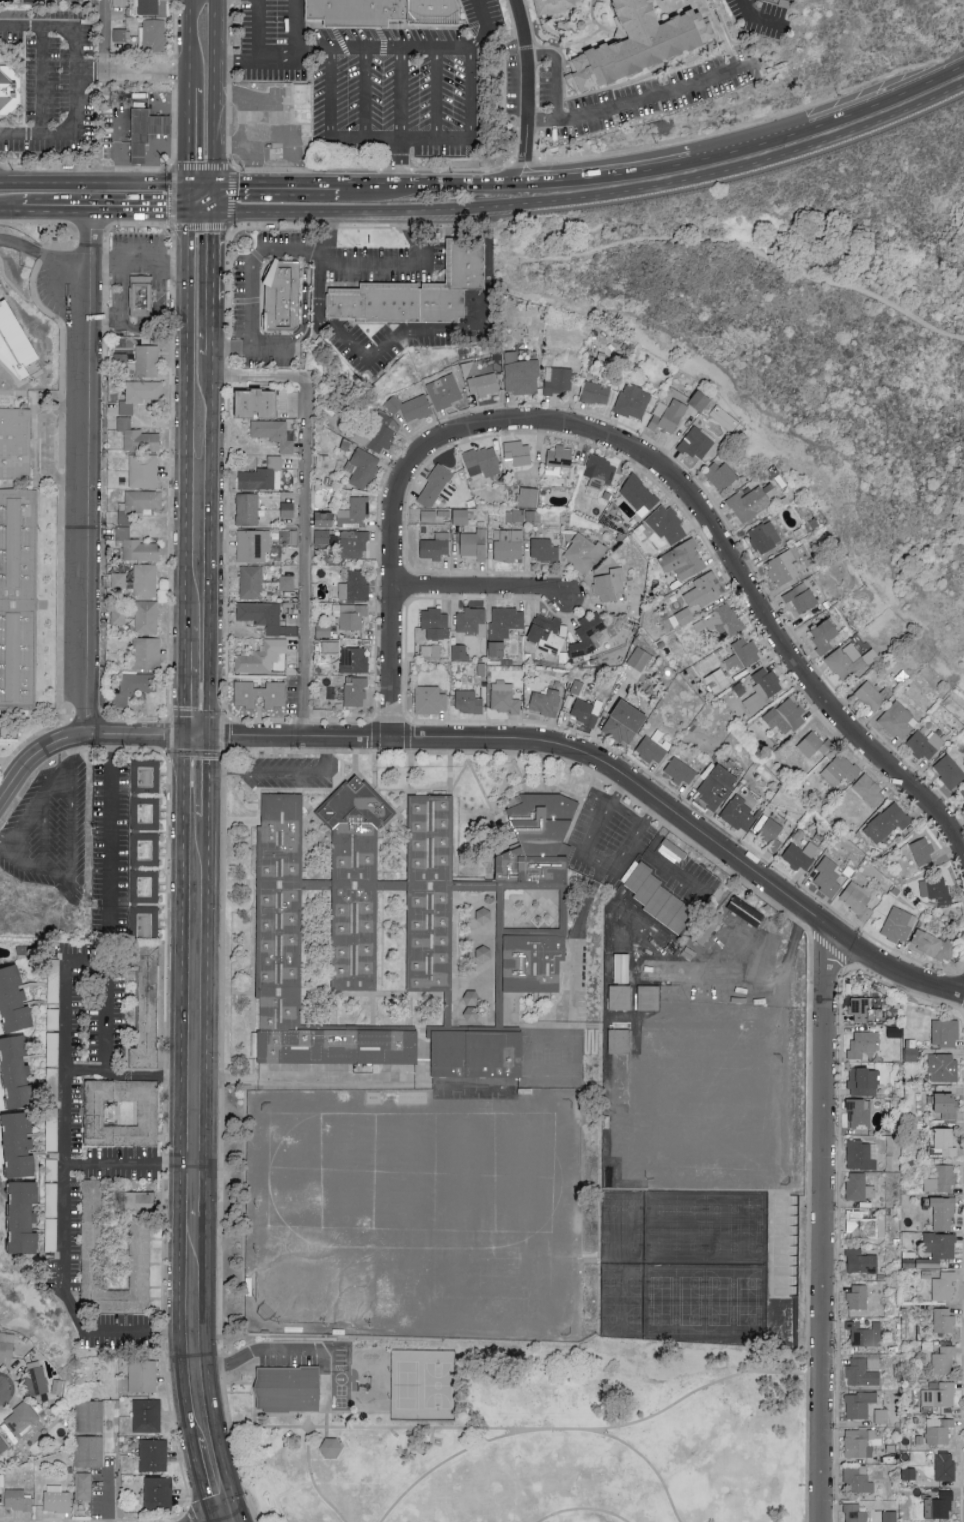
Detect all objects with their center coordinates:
road: (34, 1)
building: (74, 1)
road: (666, 1)
building: (551, 6)
building: (151, 7)
building: (353, 13)
building: (426, 13)
road: (759, 16)
parking lot: (761, 17)
road: (296, 25)
road: (492, 30)
road: (215, 31)
road: (260, 32)
building: (152, 35)
road: (337, 35)
road: (380, 35)
road: (104, 36)
road: (187, 41)
building: (644, 45)
road: (343, 48)
road: (383, 48)
road: (338, 49)
road: (957, 49)
road: (958, 67)
road: (146, 71)
road: (89, 72)
road: (557, 77)
road: (525, 78)
road: (73, 81)
road: (43, 82)
road: (187, 87)
building: (8, 93)
road: (669, 93)
road: (331, 94)
road: (365, 94)
road: (399, 94)
road: (435, 94)
road: (470, 94)
road: (248, 95)
parking lot: (657, 97)
road: (883, 100)
parking lot: (550, 104)
road: (161, 106)
building: (299, 106)
building: (257, 117)
road: (215, 125)
building: (149, 133)
road: (187, 139)
road: (400, 140)
road: (278, 143)
building: (276, 150)
road: (118, 151)
road: (688, 161)
road: (252, 164)
road: (398, 164)
road: (731, 170)
road: (541, 171)
road: (505, 173)
road: (93, 184)
road: (237, 186)
traffic signals: (186, 187)
road: (200, 187)
traffic signals: (214, 187)
road: (316, 187)
road: (467, 187)
road: (187, 199)
road: (213, 199)
road: (10, 207)
road: (104, 209)
traffic signals: (188, 212)
road: (200, 212)
traffic signals: (213, 212)
road: (220, 212)
road: (358, 214)
road: (736, 244)
road: (43, 257)
road: (213, 257)
road: (139, 262)
road: (402, 266)
road: (251, 267)
road: (55, 295)
building: (415, 295)
building: (141, 296)
building: (281, 296)
road: (306, 302)
road: (120, 310)
road: (160, 317)
road: (212, 326)
park: (804, 330)
road: (413, 335)
building: (14, 344)
road: (270, 344)
road: (212, 354)
building: (121, 359)
building: (147, 361)
building: (521, 375)
building: (560, 382)
building: (484, 385)
building: (445, 392)
building: (597, 393)
building: (141, 395)
building: (701, 401)
building: (633, 402)
building: (261, 404)
building: (411, 408)
building: (668, 416)
road: (186, 419)
building: (275, 433)
building: (384, 435)
building: (139, 437)
building: (696, 443)
building: (16, 444)
road: (44, 445)
building: (518, 453)
building: (559, 460)
building: (482, 462)
building: (363, 468)
building: (144, 471)
building: (600, 472)
road: (86, 473)
building: (721, 475)
building: (263, 476)
building: (639, 495)
building: (529, 497)
building: (143, 501)
building: (751, 503)
building: (248, 510)
building: (288, 510)
building: (355, 513)
road: (304, 514)
building: (433, 515)
building: (514, 516)
building: (461, 517)
building: (324, 520)
building: (667, 525)
building: (765, 537)
building: (353, 544)
building: (474, 544)
building: (509, 545)
road: (209, 546)
building: (253, 546)
building: (436, 547)
building: (544, 550)
building: (584, 553)
building: (685, 560)
road: (735, 568)
building: (783, 569)
building: (287, 580)
building: (144, 582)
building: (251, 582)
road: (392, 584)
building: (610, 585)
building: (354, 586)
road: (478, 589)
building: (705, 590)
building: (801, 598)
building: (20, 603)
building: (262, 615)
building: (350, 616)
building: (684, 616)
building: (145, 619)
building: (506, 621)
building: (724, 621)
building: (471, 622)
building: (436, 624)
building: (548, 633)
building: (588, 635)
building: (826, 636)
building: (498, 650)
building: (460, 652)
building: (747, 652)
building: (145, 654)
building: (262, 657)
building: (640, 659)
building: (354, 660)
building: (732, 661)
road: (184, 681)
building: (717, 681)
building: (135, 687)
building: (763, 689)
building: (357, 693)
building: (261, 695)
building: (873, 696)
building: (504, 698)
building: (431, 701)
building: (469, 702)
building: (546, 702)
building: (586, 711)
building: (632, 716)
building: (786, 717)
building: (898, 721)
traffic signals: (184, 735)
traffic signals: (208, 737)
building: (814, 745)
building: (926, 745)
road: (563, 746)
building: (654, 748)
building: (0, 749)
road: (37, 761)
road: (70, 766)
building: (840, 770)
road: (286, 771)
building: (949, 771)
building: (681, 772)
parking lot: (292, 773)
road: (207, 777)
building: (147, 780)
building: (717, 787)
building: (869, 791)
road: (31, 814)
building: (148, 817)
road: (629, 817)
building: (752, 821)
building: (888, 822)
parking lot: (49, 831)
road: (43, 832)
road: (112, 832)
road: (5, 842)
building: (532, 842)
parking lot: (607, 842)
parking lot: (109, 851)
building: (922, 851)
building: (147, 853)
building: (801, 855)
road: (68, 859)
road: (593, 862)
road: (669, 872)
building: (828, 876)
parking lot: (693, 884)
building: (936, 889)
building: (147, 890)
building: (857, 898)
building: (656, 900)
building: (434, 901)
building: (360, 906)
building: (758, 924)
building: (899, 924)
building: (147, 926)
building: (935, 945)
road: (87, 960)
building: (772, 963)
building: (534, 965)
building: (308, 970)
building: (730, 978)
building: (626, 990)
road: (206, 992)
building: (650, 997)
building: (17, 999)
building: (860, 1009)
building: (662, 1025)
building: (946, 1033)
building: (864, 1044)
building: (482, 1059)
building: (943, 1067)
building: (19, 1071)
building: (625, 1072)
road: (314, 1080)
building: (864, 1081)
road: (182, 1088)
building: (949, 1106)
building: (122, 1112)
building: (860, 1113)
building: (948, 1141)
building: (21, 1144)
building: (863, 1155)
road: (134, 1166)
building: (942, 1179)
building: (859, 1187)
road: (206, 1192)
road: (64, 1193)
building: (944, 1214)
building: (93, 1215)
building: (27, 1217)
road: (828, 1226)
building: (864, 1226)
building: (938, 1248)
building: (139, 1250)
building: (862, 1262)
building: (944, 1286)
building: (858, 1297)
building: (944, 1321)
building: (864, 1334)
building: (7, 1347)
road: (286, 1358)
building: (944, 1360)
road: (207, 1370)
building: (861, 1373)
building: (142, 1377)
building: (37, 1381)
park: (407, 1387)
park: (439, 1387)
building: (286, 1389)
building: (940, 1395)
building: (859, 1404)
building: (89, 1416)
building: (881, 1416)
building: (146, 1417)
building: (23, 1420)
park: (519, 1430)
building: (938, 1430)
road: (526, 1431)
building: (858, 1444)
building: (3, 1445)
building: (88, 1453)
building: (153, 1457)
road: (447, 1461)
road: (654, 1464)
building: (945, 1467)
building: (860, 1480)
road: (203, 1482)
road: (314, 1482)
building: (84, 1485)
building: (157, 1495)
road: (283, 1495)
road: (107, 1497)
building: (57, 1499)
building: (17, 1500)
building: (939, 1506)
road: (585, 1510)
building: (855, 1514)
building: (890, 1516)
traffic signals: (242, 1519)
road: (237, 1520)
road: (242, 1520)

